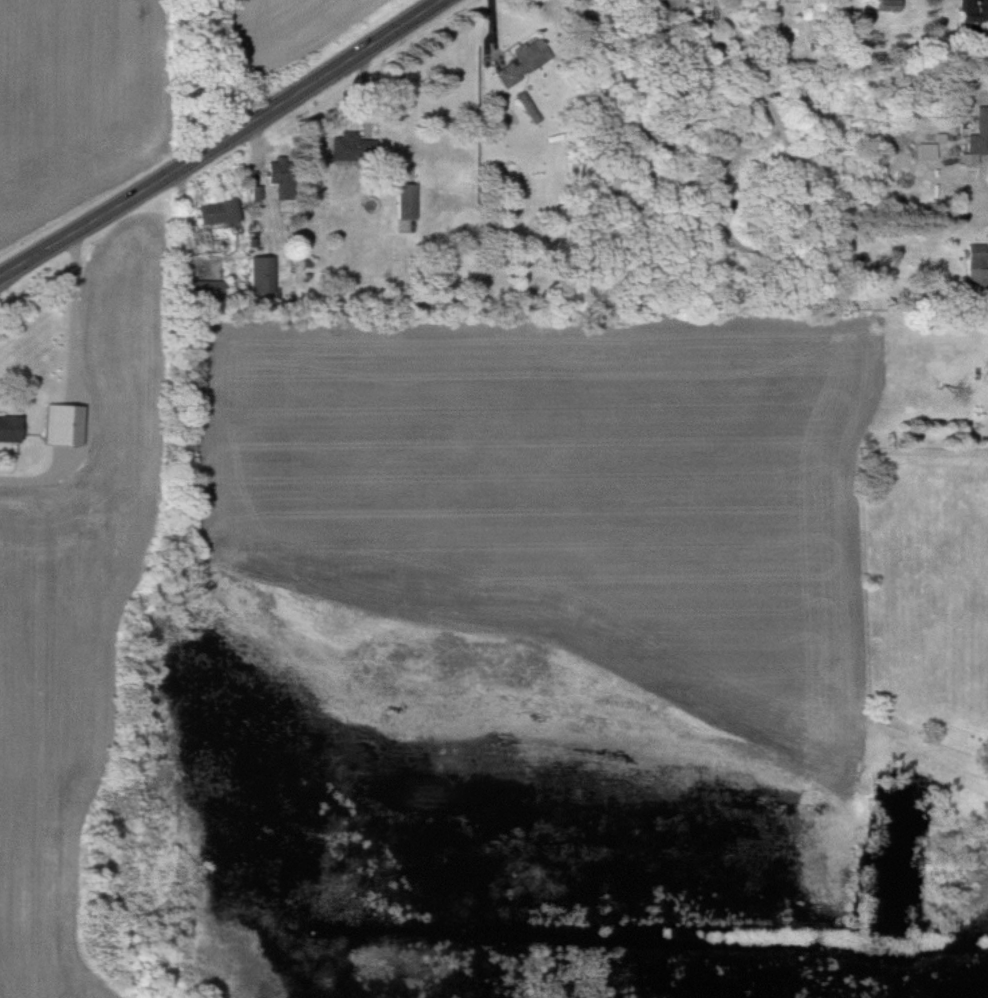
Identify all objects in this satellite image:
building: (886, 5)
building: (974, 17)
building: (525, 60)
building: (528, 106)
building: (978, 135)
road: (221, 140)
building: (350, 148)
building: (405, 201)
building: (215, 212)
building: (977, 268)
building: (260, 274)
building: (206, 289)
road: (83, 389)
building: (11, 429)

